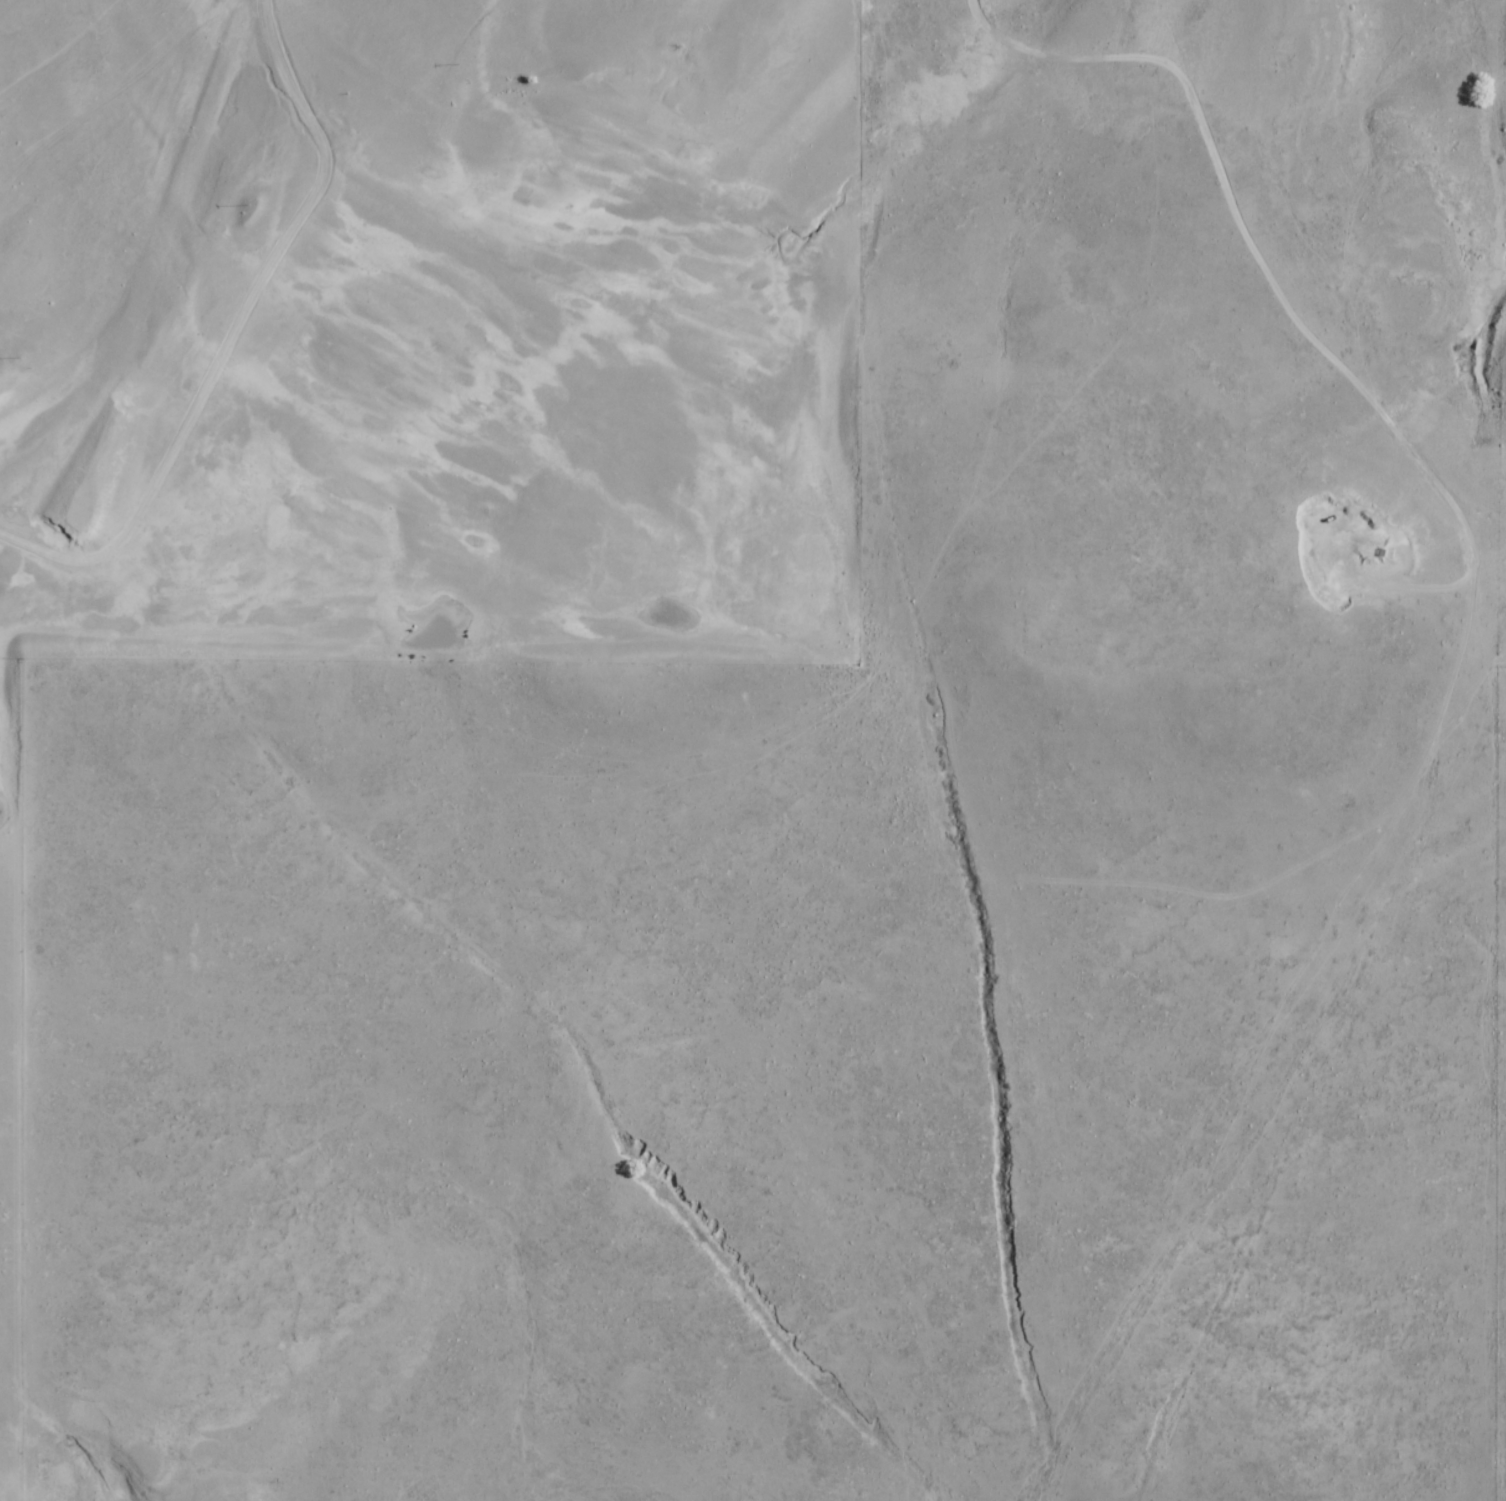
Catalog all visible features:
road: (258, 802)

